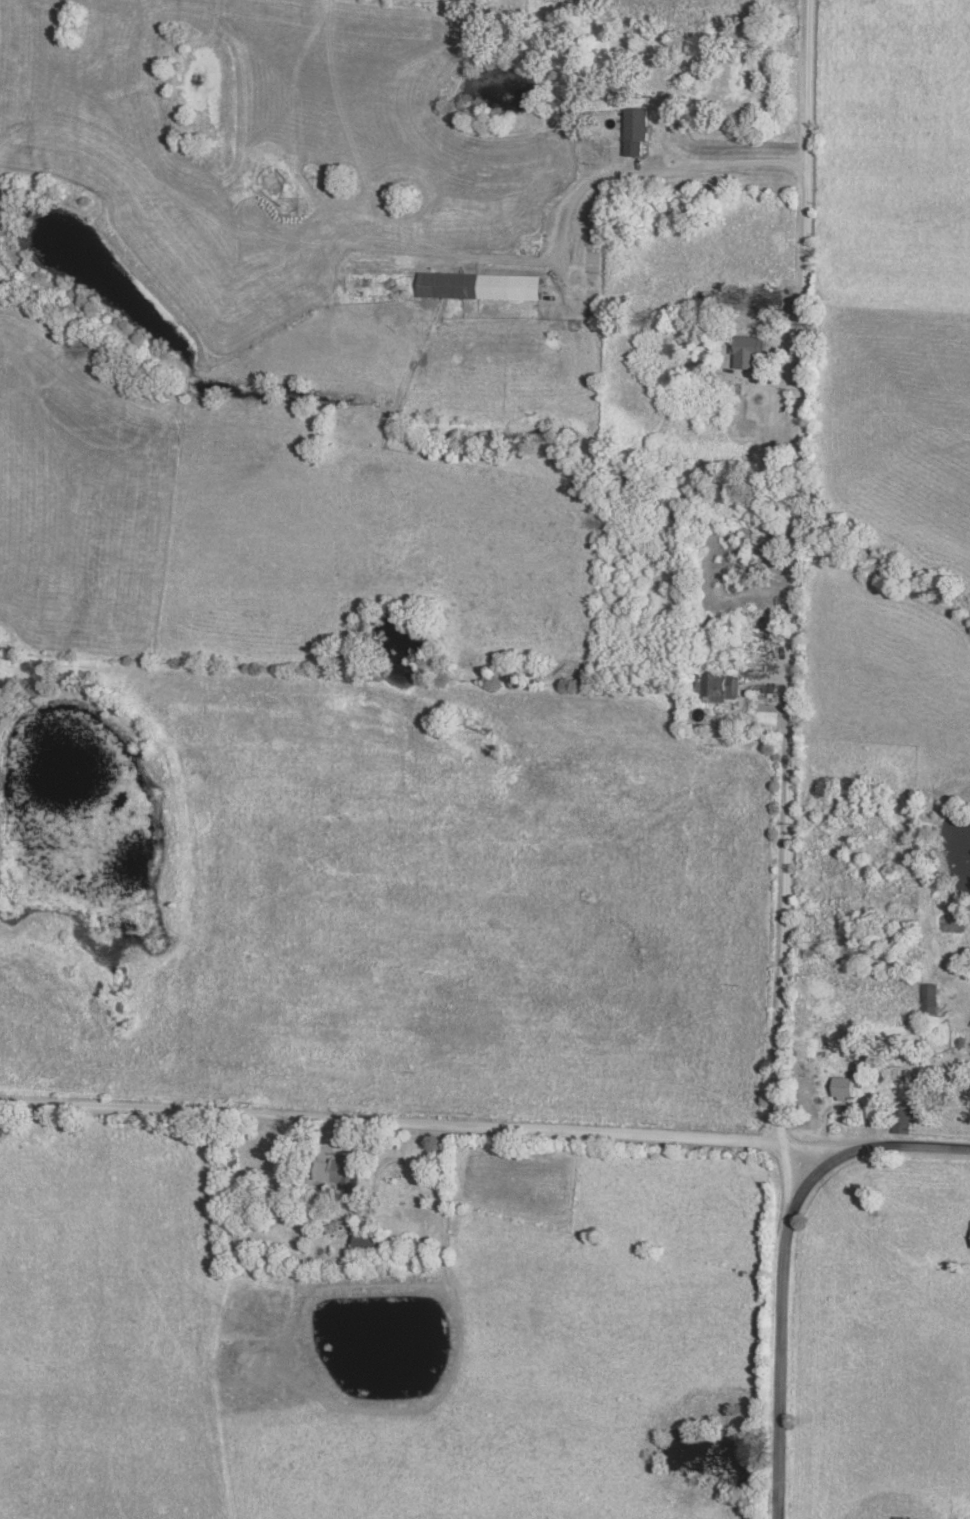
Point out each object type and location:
building: (639, 130)
road: (586, 171)
building: (483, 285)
building: (750, 352)
road: (795, 601)
building: (721, 680)
building: (934, 997)
building: (850, 1085)
building: (906, 1118)
road: (429, 1119)
road: (874, 1147)
building: (343, 1171)
road: (443, 1190)
building: (371, 1241)
road: (782, 1358)

